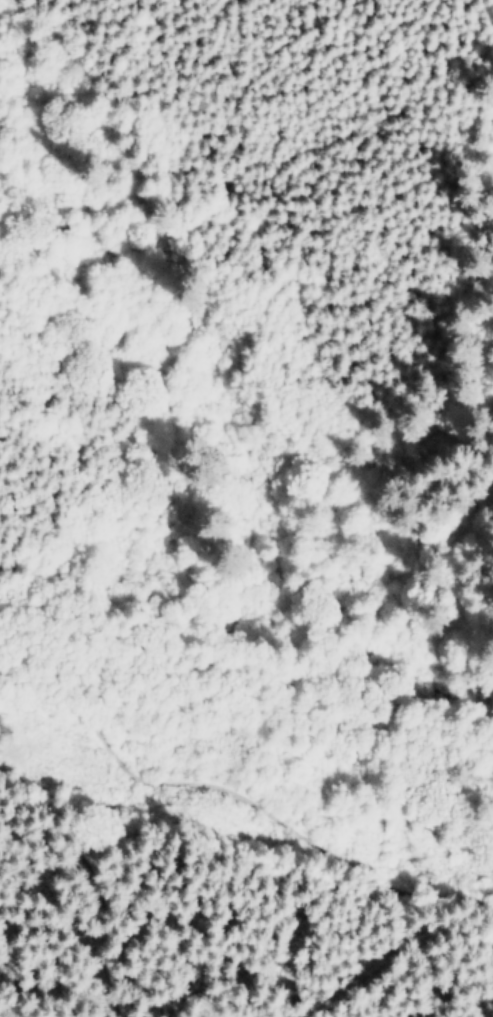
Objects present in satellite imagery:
road: (137, 971)

